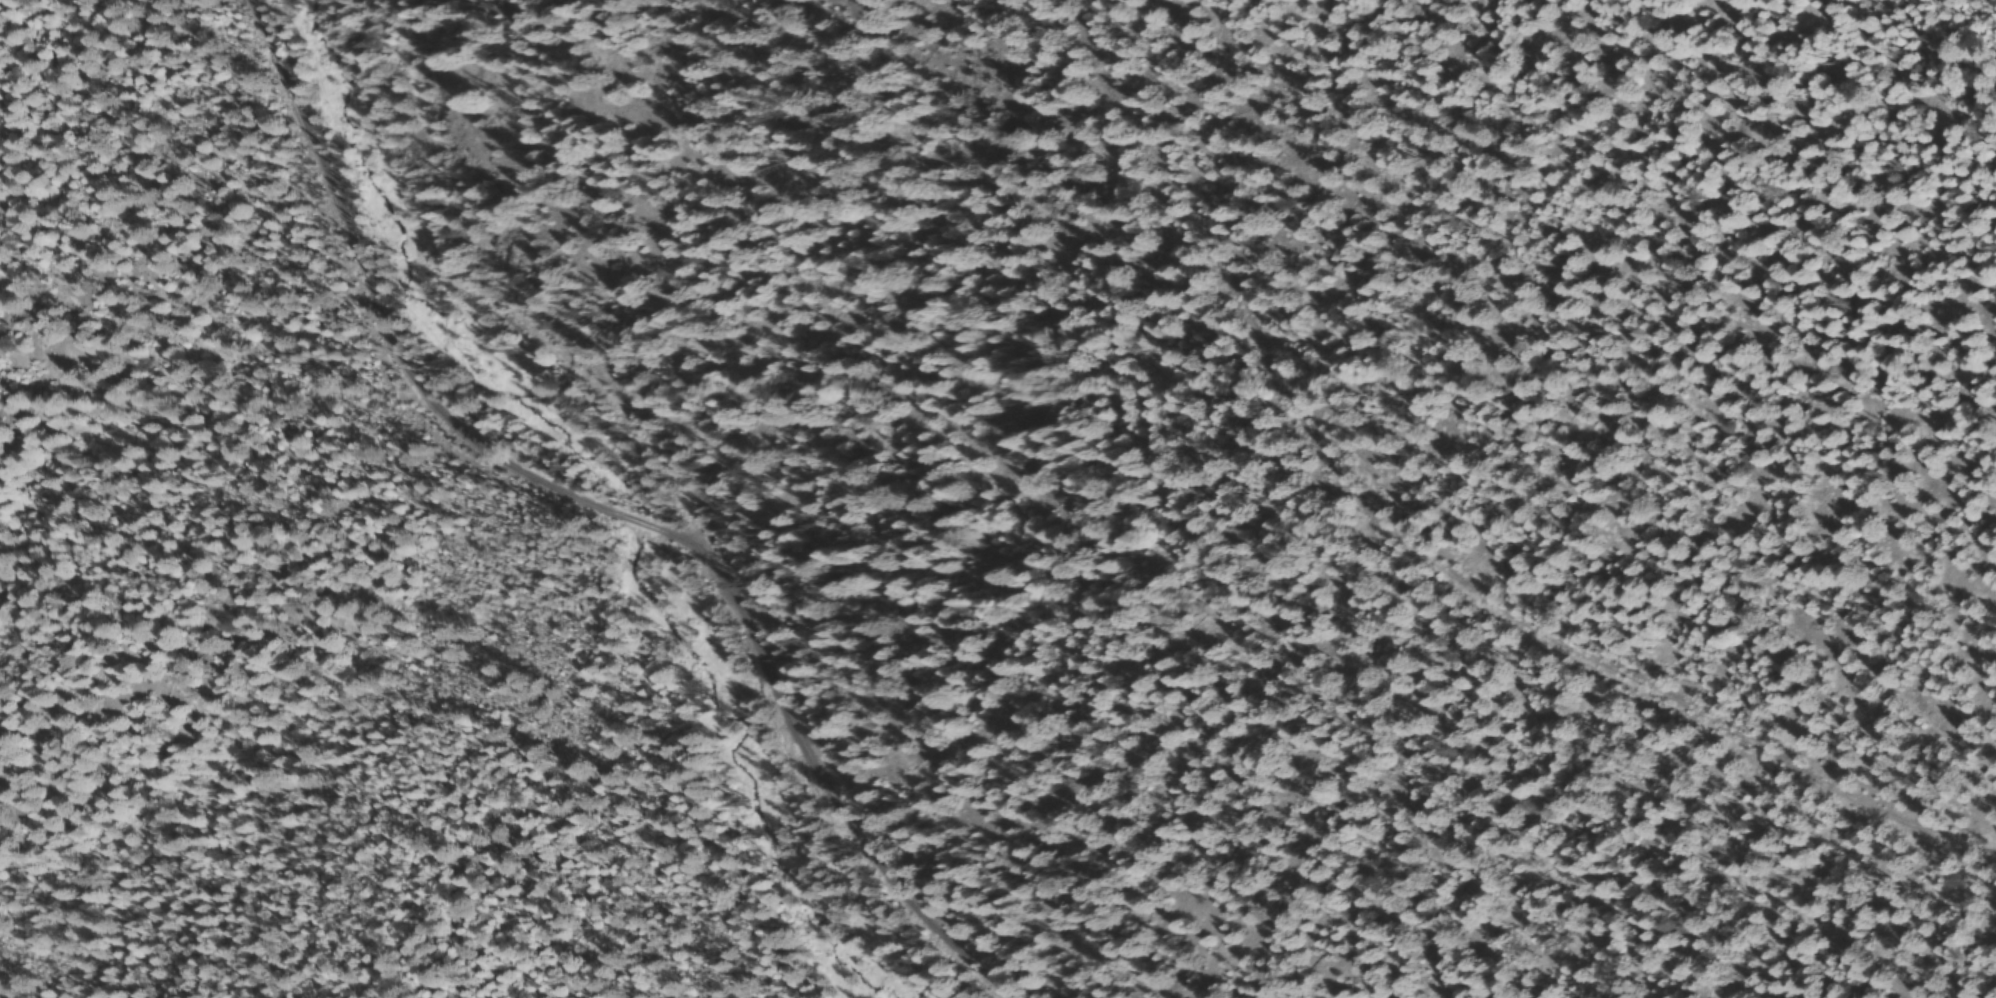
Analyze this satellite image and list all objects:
road: (619, 493)
road: (1394, 542)

